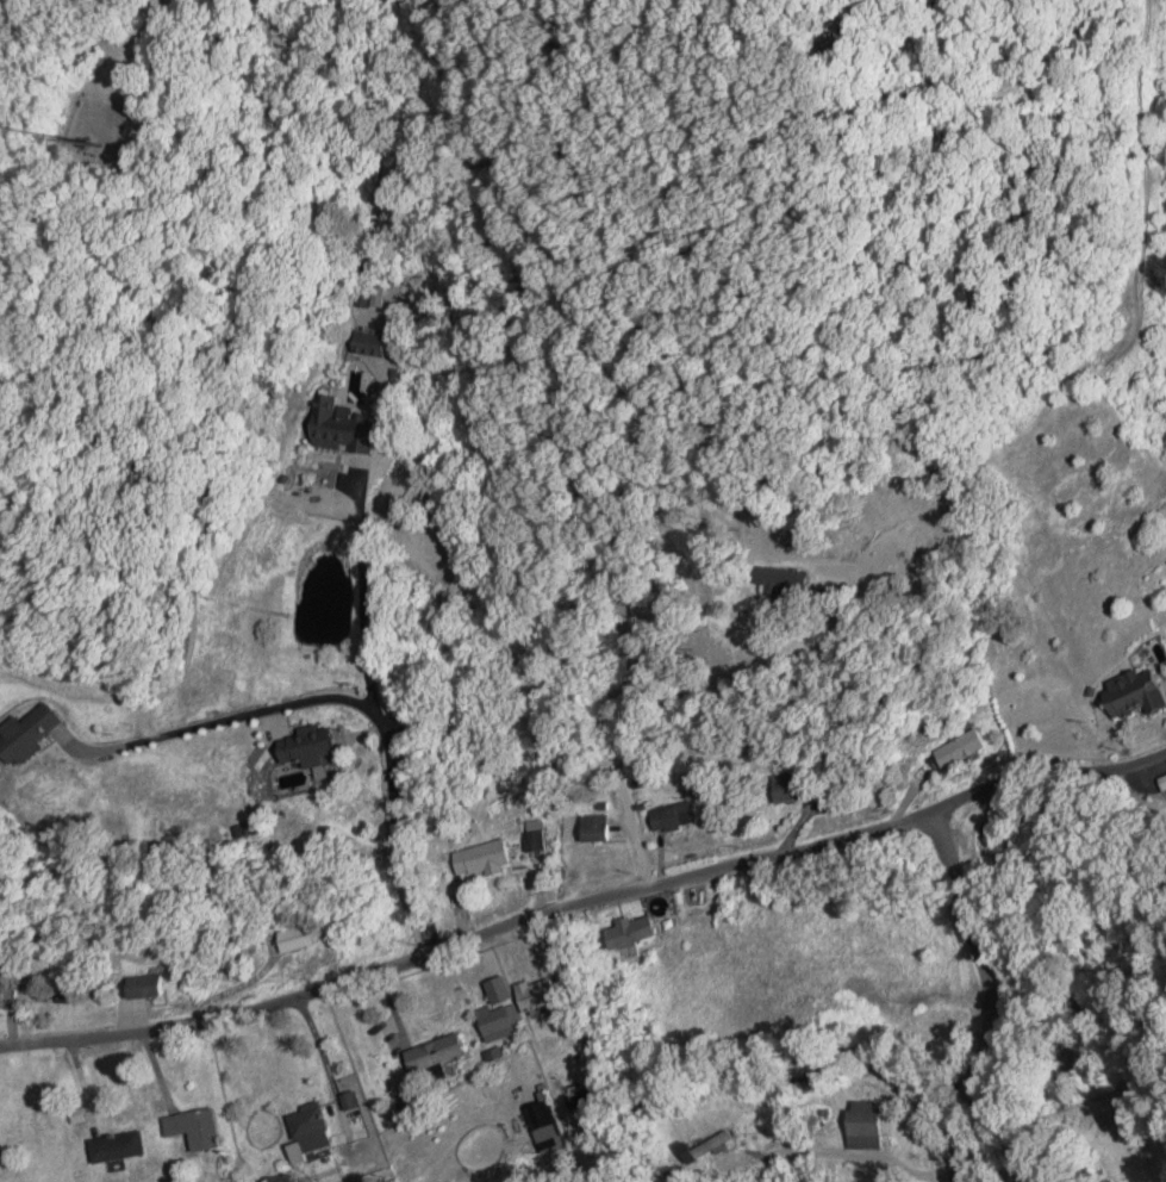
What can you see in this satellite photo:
building: (379, 343)
building: (350, 427)
road: (366, 606)
building: (1131, 693)
road: (350, 699)
building: (1047, 707)
building: (36, 733)
building: (318, 747)
building: (968, 748)
building: (1164, 779)
building: (802, 788)
building: (680, 816)
building: (604, 832)
building: (488, 858)
road: (584, 898)
building: (641, 932)
building: (304, 938)
building: (154, 987)
building: (5, 994)
road: (991, 994)
building: (547, 995)
building: (506, 1019)
building: (443, 1052)
building: (311, 1118)
building: (544, 1119)
building: (863, 1124)
building: (199, 1128)
building: (121, 1147)
building: (294, 1181)

